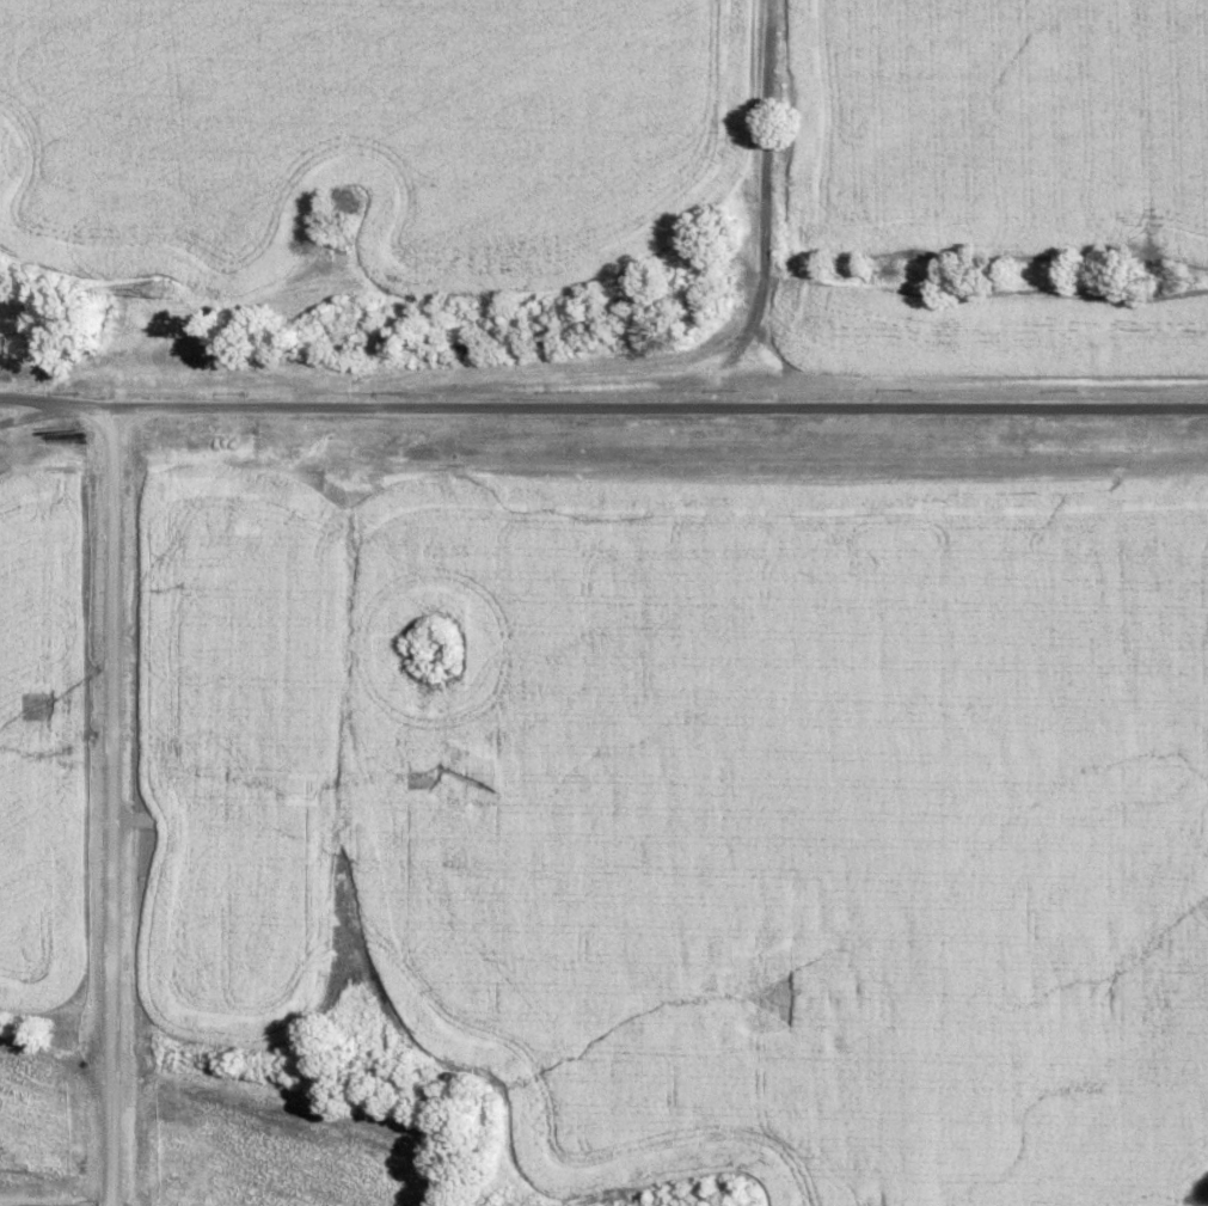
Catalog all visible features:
power tower: (158, 290)
road: (603, 409)
road: (109, 808)

